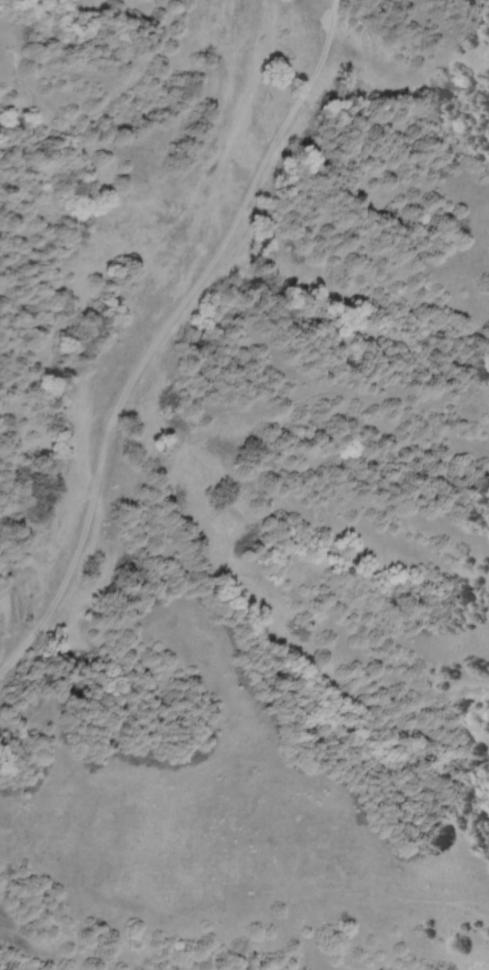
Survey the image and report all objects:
road: (161, 333)

